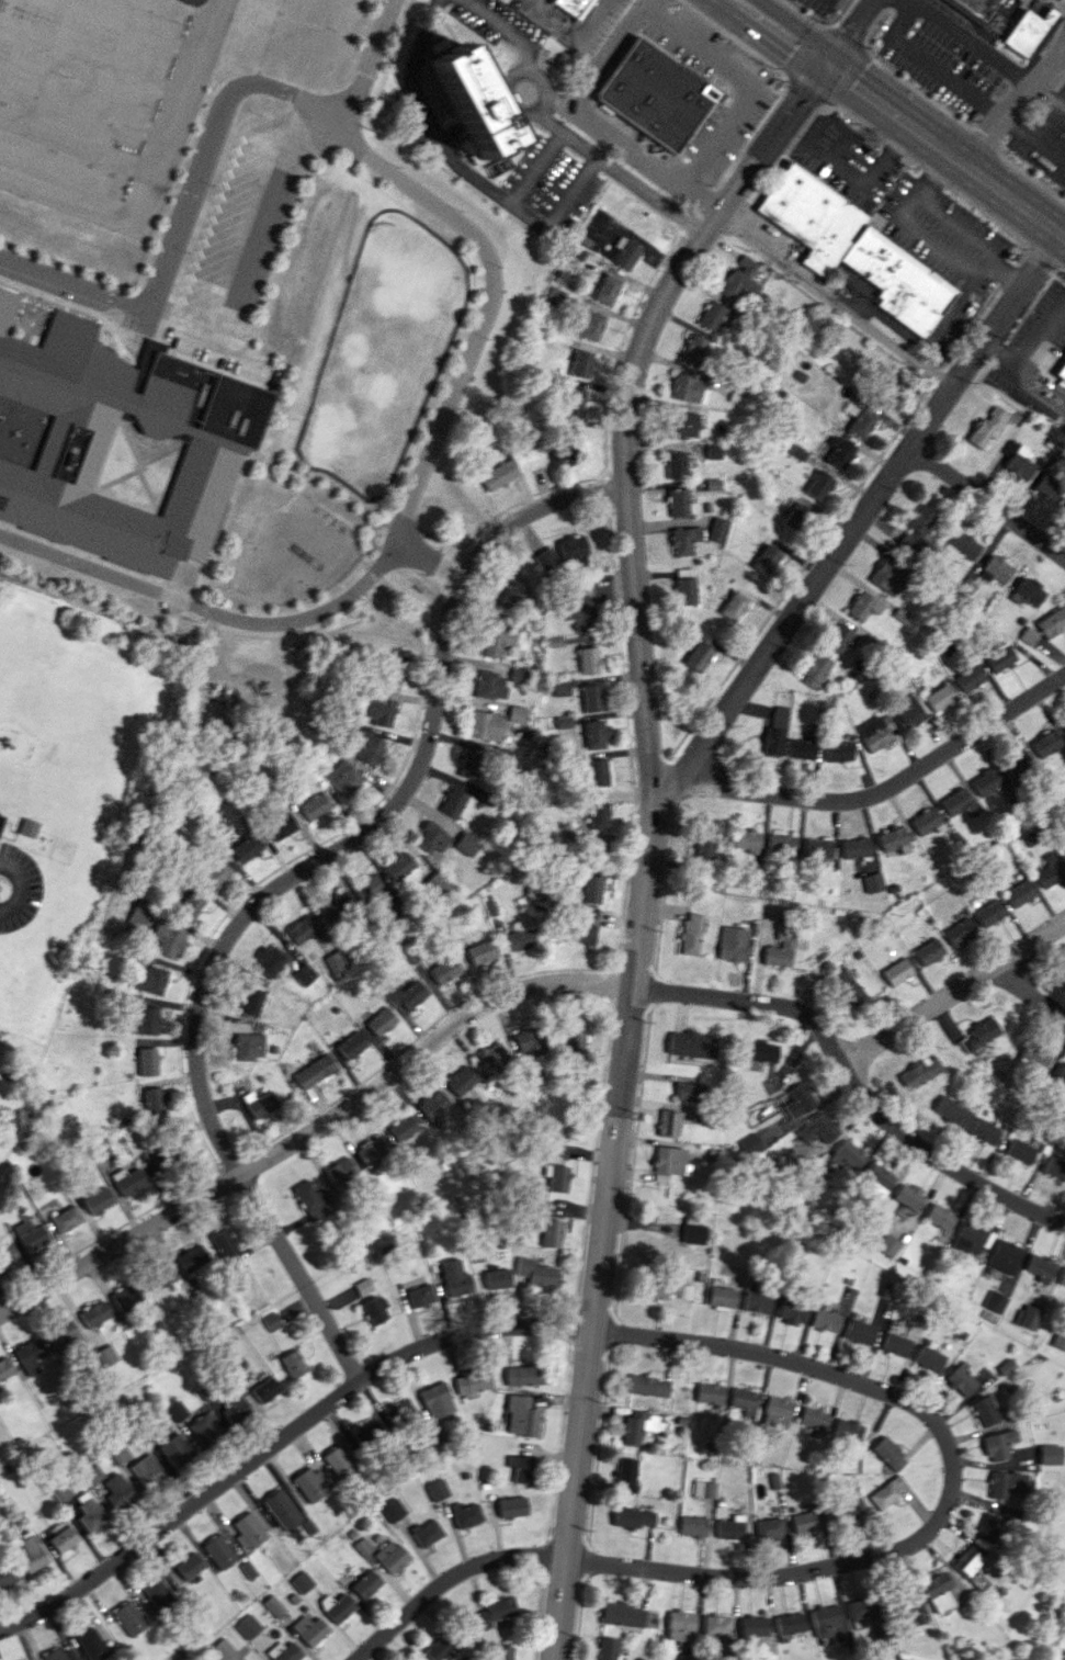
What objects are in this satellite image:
road: (1061, 2)
building: (571, 7)
building: (975, 7)
road: (567, 31)
building: (1024, 31)
road: (848, 33)
road: (970, 42)
road: (1061, 52)
traffic signals: (826, 66)
road: (929, 66)
road: (752, 81)
building: (655, 93)
road: (1049, 98)
building: (469, 101)
road: (1013, 103)
road: (574, 105)
road: (896, 120)
road: (564, 132)
road: (1033, 138)
road: (201, 153)
road: (155, 161)
road: (461, 169)
road: (848, 176)
road: (699, 203)
road: (953, 224)
road: (925, 239)
building: (852, 248)
building: (625, 252)
building: (746, 263)
building: (737, 284)
building: (607, 289)
building: (555, 296)
road: (836, 301)
road: (481, 308)
building: (711, 315)
building: (587, 324)
road: (930, 338)
road: (1029, 349)
building: (696, 350)
building: (580, 363)
building: (1061, 371)
building: (688, 388)
building: (885, 388)
road: (1033, 389)
building: (573, 402)
building: (860, 424)
building: (681, 425)
building: (985, 428)
building: (116, 444)
building: (562, 447)
building: (713, 451)
building: (838, 452)
building: (1016, 462)
building: (675, 464)
building: (498, 474)
building: (818, 485)
building: (1049, 487)
building: (678, 501)
road: (987, 504)
building: (795, 517)
road: (860, 519)
building: (916, 528)
building: (717, 530)
building: (684, 540)
building: (961, 543)
building: (573, 546)
building: (545, 558)
building: (766, 558)
road: (430, 563)
building: (994, 569)
building: (886, 576)
building: (684, 586)
building: (1028, 591)
building: (511, 596)
building: (733, 606)
building: (862, 606)
road: (203, 607)
building: (580, 612)
building: (1052, 622)
building: (1028, 635)
building: (496, 636)
building: (837, 637)
building: (699, 652)
building: (998, 657)
building: (588, 660)
building: (815, 670)
building: (518, 675)
building: (389, 676)
building: (968, 678)
building: (489, 685)
building: (560, 687)
building: (939, 697)
building: (591, 698)
building: (379, 711)
building: (906, 712)
building: (517, 714)
building: (563, 722)
building: (1063, 723)
building: (485, 724)
building: (874, 732)
building: (596, 734)
building: (772, 741)
building: (1045, 743)
building: (365, 746)
building: (798, 748)
building: (838, 750)
building: (1016, 763)
building: (469, 764)
building: (597, 772)
building: (342, 777)
building: (985, 781)
road: (874, 795)
building: (958, 802)
building: (456, 803)
building: (315, 806)
building: (0, 815)
building: (598, 815)
building: (280, 826)
building: (27, 827)
road: (646, 835)
building: (430, 837)
building: (746, 839)
building: (893, 839)
building: (466, 844)
building: (781, 844)
building: (705, 846)
building: (854, 847)
building: (247, 848)
building: (817, 848)
building: (597, 849)
building: (1064, 854)
building: (399, 866)
building: (1050, 870)
building: (216, 874)
road: (283, 882)
building: (873, 882)
building: (437, 883)
road: (23, 889)
building: (369, 889)
building: (590, 889)
building: (1019, 893)
building: (190, 904)
building: (336, 906)
building: (141, 913)
building: (989, 913)
building: (302, 929)
building: (582, 930)
building: (959, 931)
building: (690, 934)
building: (169, 939)
building: (520, 939)
building: (733, 942)
building: (784, 948)
building: (480, 951)
building: (928, 951)
building: (336, 960)
building: (269, 961)
building: (444, 970)
building: (897, 971)
building: (304, 973)
building: (151, 979)
road: (529, 987)
building: (849, 987)
road: (1031, 993)
road: (954, 994)
building: (407, 995)
building: (251, 1001)
building: (381, 1020)
building: (145, 1021)
building: (979, 1034)
building: (573, 1036)
building: (529, 1042)
building: (691, 1044)
building: (249, 1046)
building: (351, 1046)
building: (763, 1051)
building: (492, 1057)
building: (1034, 1058)
building: (147, 1061)
building: (315, 1071)
building: (921, 1071)
building: (1062, 1073)
building: (461, 1080)
building: (689, 1092)
building: (798, 1099)
building: (155, 1100)
building: (259, 1104)
building: (432, 1104)
building: (953, 1111)
building: (668, 1123)
building: (404, 1127)
building: (823, 1127)
building: (985, 1131)
building: (808, 1134)
building: (751, 1144)
building: (371, 1150)
building: (1020, 1151)
building: (845, 1155)
building: (670, 1161)
building: (1055, 1167)
building: (339, 1171)
building: (555, 1176)
building: (879, 1178)
building: (128, 1181)
building: (908, 1196)
building: (311, 1199)
building: (98, 1200)
building: (940, 1217)
building: (65, 1219)
building: (548, 1231)
building: (30, 1233)
building: (693, 1233)
building: (968, 1236)
building: (223, 1244)
building: (887, 1244)
building: (7, 1255)
building: (1005, 1256)
building: (190, 1257)
building: (1040, 1267)
building: (534, 1272)
building: (158, 1276)
building: (1062, 1277)
building: (455, 1278)
building: (496, 1278)
building: (665, 1289)
building: (419, 1295)
building: (123, 1297)
building: (721, 1297)
building: (994, 1301)
building: (756, 1302)
building: (374, 1309)
building: (792, 1312)
building: (93, 1313)
building: (1027, 1317)
building: (825, 1320)
building: (270, 1321)
building: (859, 1332)
building: (61, 1333)
building: (1058, 1339)
building: (894, 1344)
building: (30, 1355)
building: (105, 1355)
building: (928, 1358)
building: (292, 1364)
building: (4, 1368)
building: (522, 1375)
building: (959, 1380)
building: (472, 1381)
building: (646, 1386)
building: (264, 1389)
building: (709, 1392)
building: (437, 1400)
building: (745, 1401)
building: (234, 1408)
building: (175, 1410)
building: (399, 1411)
building: (983, 1411)
building: (777, 1412)
building: (521, 1416)
building: (813, 1418)
building: (637, 1425)
building: (203, 1427)
building: (846, 1430)
building: (369, 1433)
road: (282, 1438)
building: (998, 1444)
building: (174, 1449)
building: (888, 1453)
building: (120, 1454)
building: (1050, 1454)
building: (339, 1461)
building: (520, 1468)
building: (146, 1470)
building: (626, 1473)
building: (93, 1475)
road: (947, 1479)
building: (309, 1483)
building: (1007, 1483)
building: (704, 1489)
building: (61, 1491)
building: (117, 1491)
building: (887, 1491)
building: (511, 1506)
building: (281, 1510)
building: (393, 1510)
building: (851, 1510)
building: (464, 1514)
building: (633, 1517)
building: (806, 1522)
building: (693, 1525)
building: (730, 1527)
building: (986, 1527)
building: (770, 1528)
building: (248, 1529)
building: (426, 1533)
building: (63, 1538)
building: (363, 1546)
building: (218, 1551)
building: (31, 1554)
building: (389, 1556)
building: (965, 1559)
building: (189, 1566)
building: (5, 1574)
building: (978, 1581)
building: (301, 1582)
road: (454, 1582)
building: (365, 1583)
building: (938, 1591)
building: (159, 1595)
building: (272, 1605)
building: (336, 1606)
building: (862, 1607)
building: (492, 1612)
building: (622, 1614)
building: (128, 1618)
building: (826, 1618)
building: (790, 1623)
building: (680, 1625)
building: (246, 1626)
building: (716, 1626)
building: (754, 1626)
building: (308, 1629)
building: (90, 1645)
building: (437, 1648)
building: (220, 1649)
building: (605, 1649)
building: (283, 1651)
building: (499, 1652)
building: (58, 1655)
building: (687, 1657)
building: (413, 1659)

